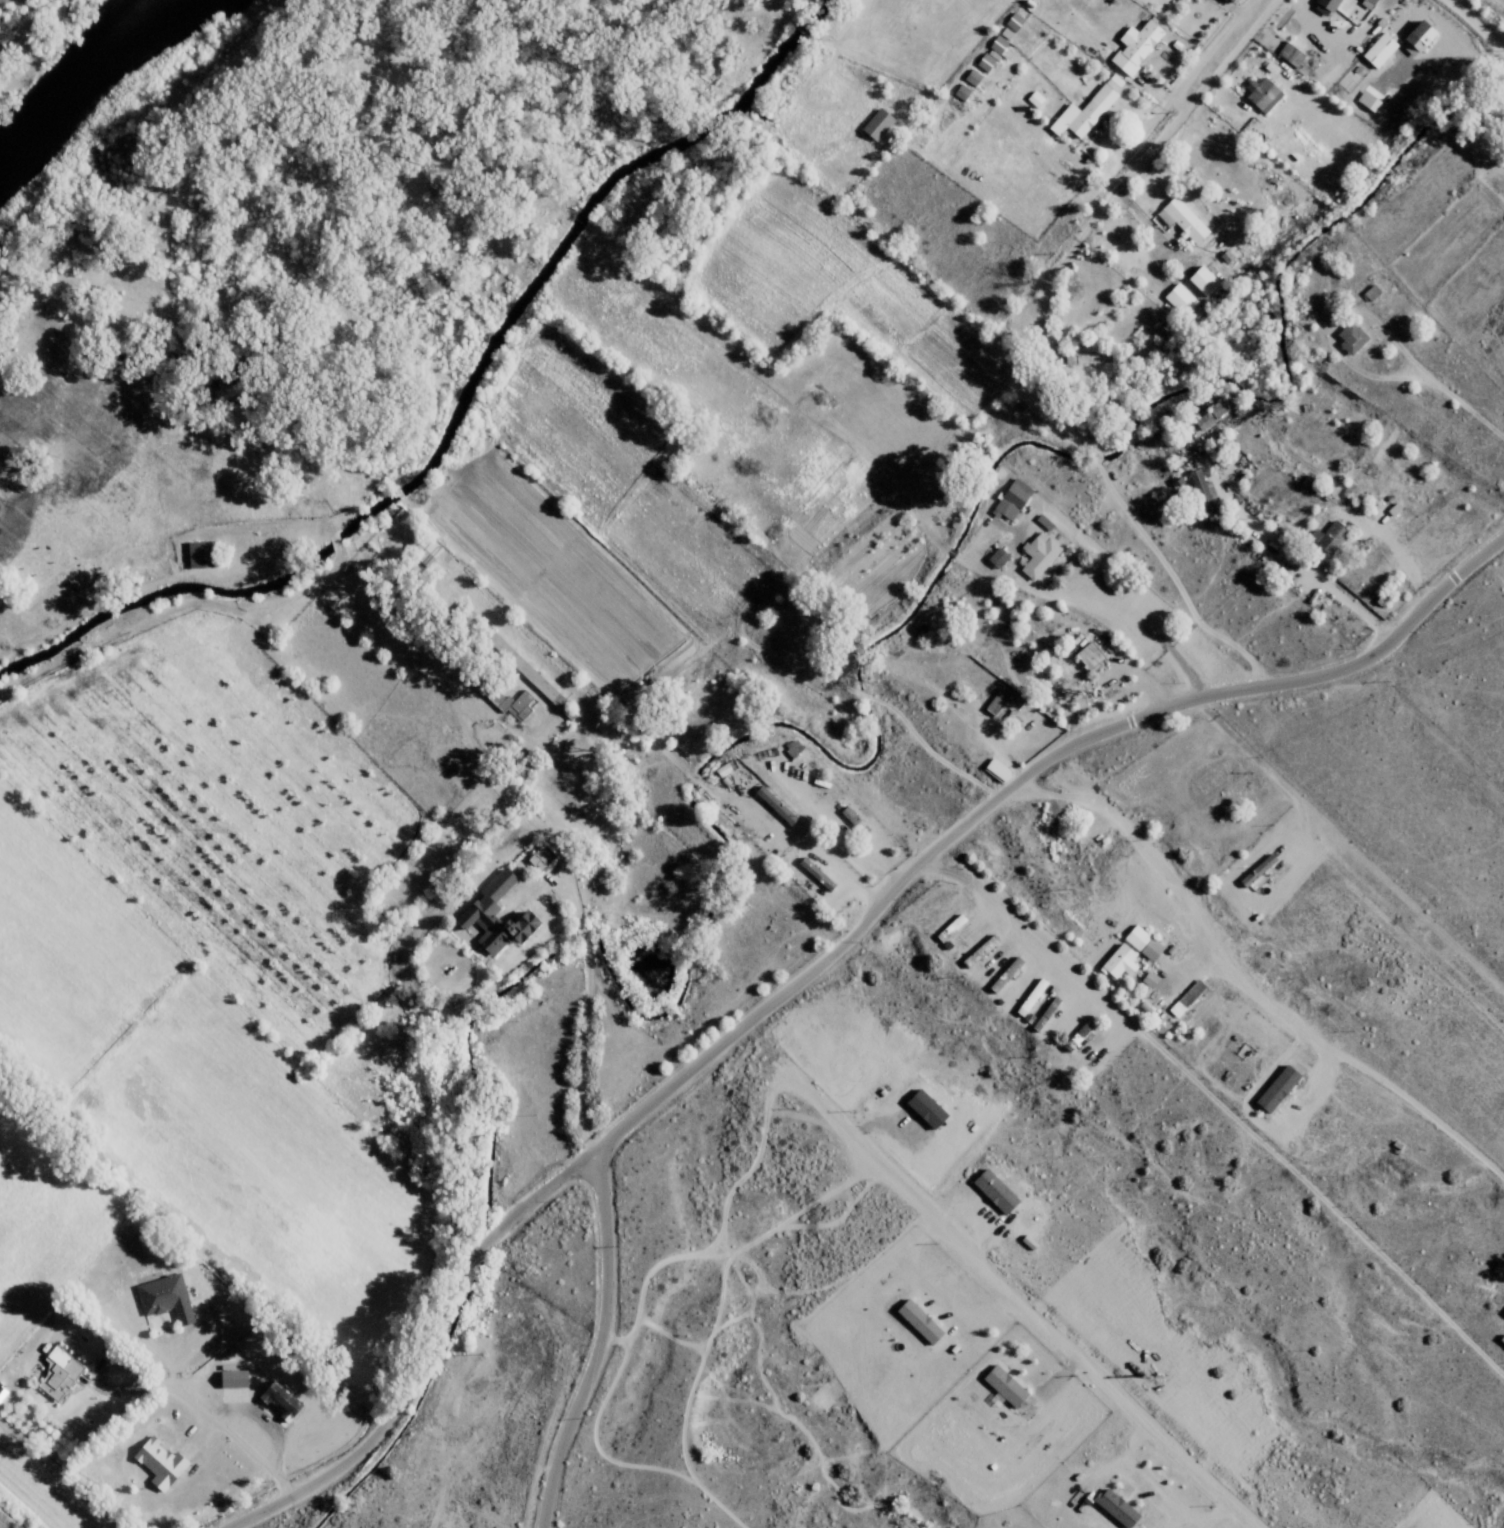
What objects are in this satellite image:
building: (1370, 0)
building: (1321, 6)
building: (1003, 32)
building: (1414, 37)
building: (995, 43)
building: (1132, 45)
building: (1376, 49)
building: (1288, 54)
building: (984, 59)
building: (969, 76)
building: (1111, 81)
building: (958, 91)
river: (96, 92)
building: (1259, 93)
building: (1032, 97)
building: (1367, 97)
building: (1080, 112)
building: (873, 123)
building: (1179, 219)
building: (1201, 279)
building: (1368, 292)
building: (1180, 298)
building: (1347, 336)
building: (1081, 358)
building: (1207, 414)
building: (1198, 488)
building: (1009, 499)
building: (1042, 521)
building: (1326, 536)
building: (424, 551)
road: (1434, 552)
building: (192, 554)
building: (1036, 554)
building: (994, 557)
road: (1351, 611)
building: (1085, 655)
building: (998, 699)
building: (506, 702)
building: (790, 747)
building: (993, 769)
building: (722, 772)
road: (1357, 797)
building: (771, 804)
road: (1350, 814)
building: (851, 819)
building: (535, 858)
road: (1122, 863)
building: (1254, 869)
building: (813, 872)
building: (491, 915)
building: (947, 926)
road: (600, 936)
building: (1140, 941)
building: (976, 950)
building: (1117, 960)
road: (815, 966)
building: (1002, 974)
building: (1184, 997)
building: (1028, 999)
building: (1043, 1013)
building: (1273, 1088)
building: (921, 1108)
building: (990, 1190)
road: (946, 1294)
building: (161, 1297)
building: (1502, 1311)
building: (914, 1321)
road: (617, 1338)
building: (55, 1372)
building: (227, 1378)
building: (1000, 1385)
building: (275, 1400)
building: (155, 1462)
building: (1112, 1506)

